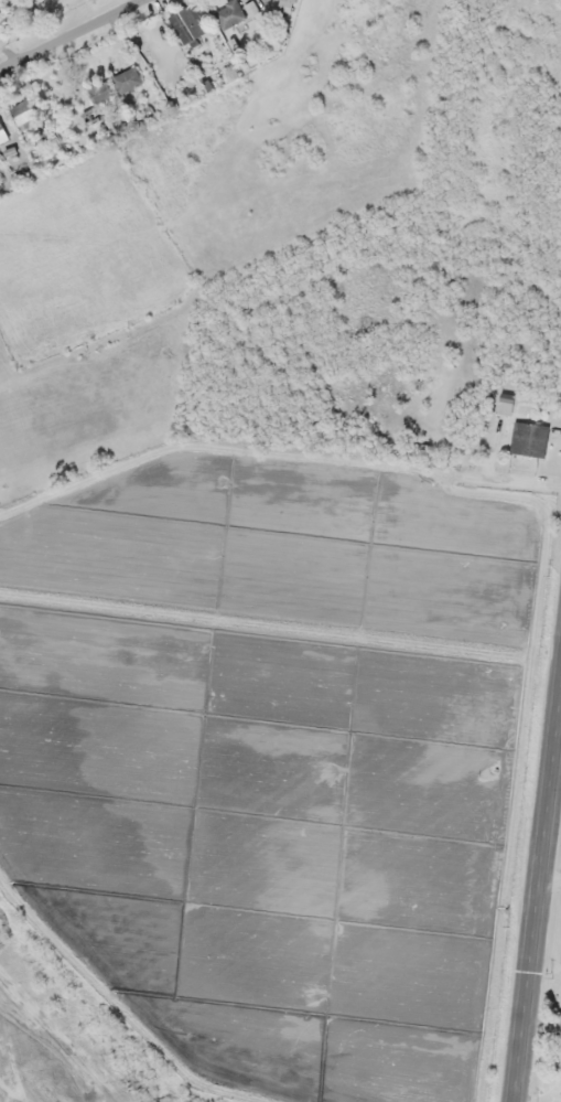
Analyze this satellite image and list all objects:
building: (229, 14)
building: (184, 26)
road: (72, 33)
building: (127, 81)
building: (99, 92)
building: (24, 114)
building: (2, 135)
building: (506, 403)
building: (529, 439)
building: (416, 448)
road: (538, 906)

